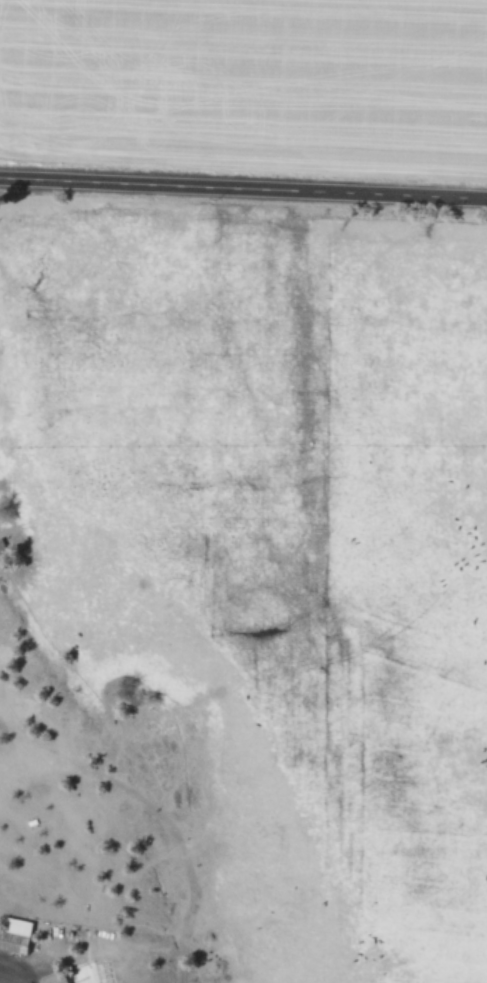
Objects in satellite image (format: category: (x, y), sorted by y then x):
crop: (248, 79)
road: (243, 189)
crop: (303, 539)
building: (13, 935)
building: (52, 980)

